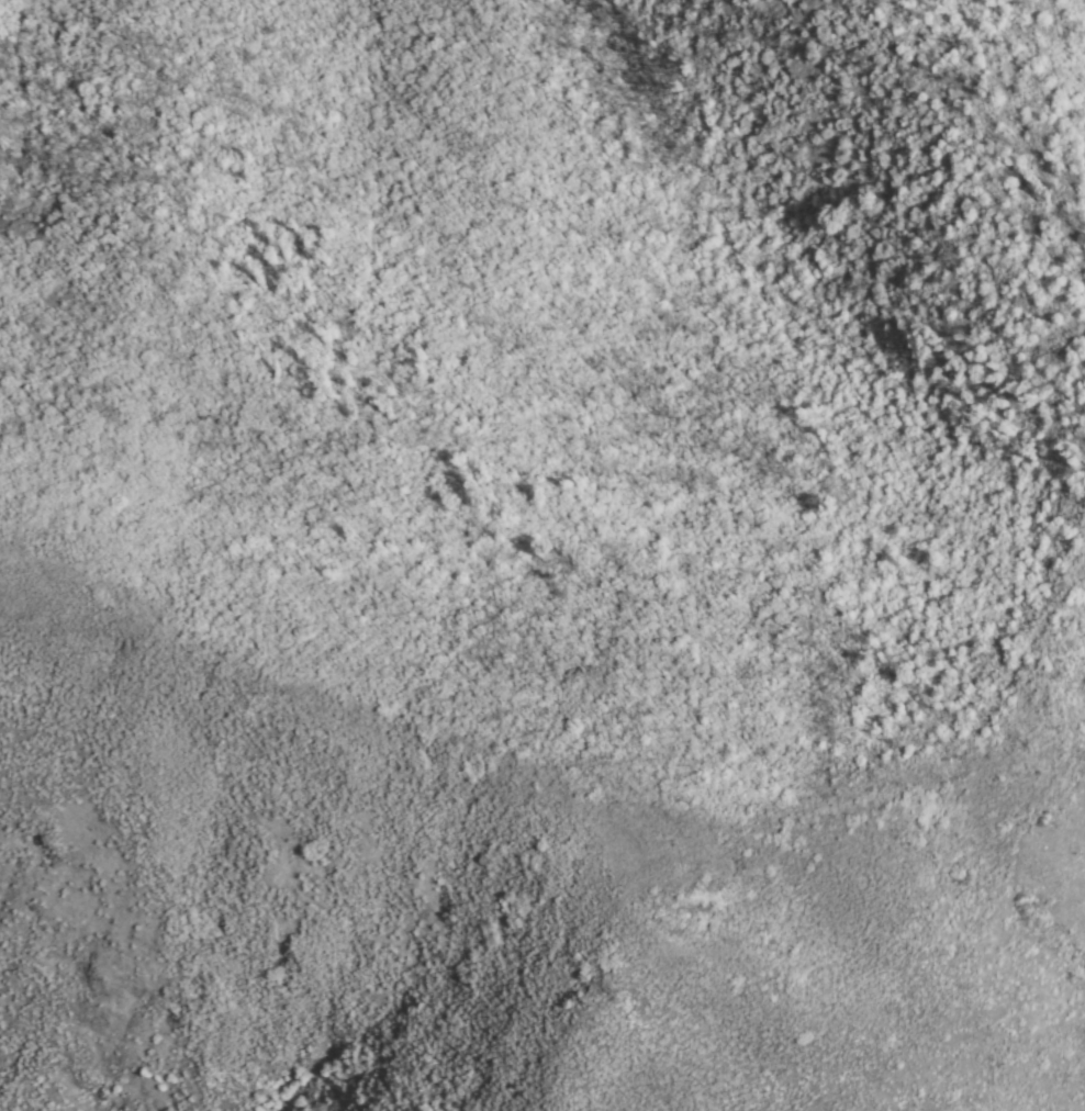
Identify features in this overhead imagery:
road: (572, 790)

